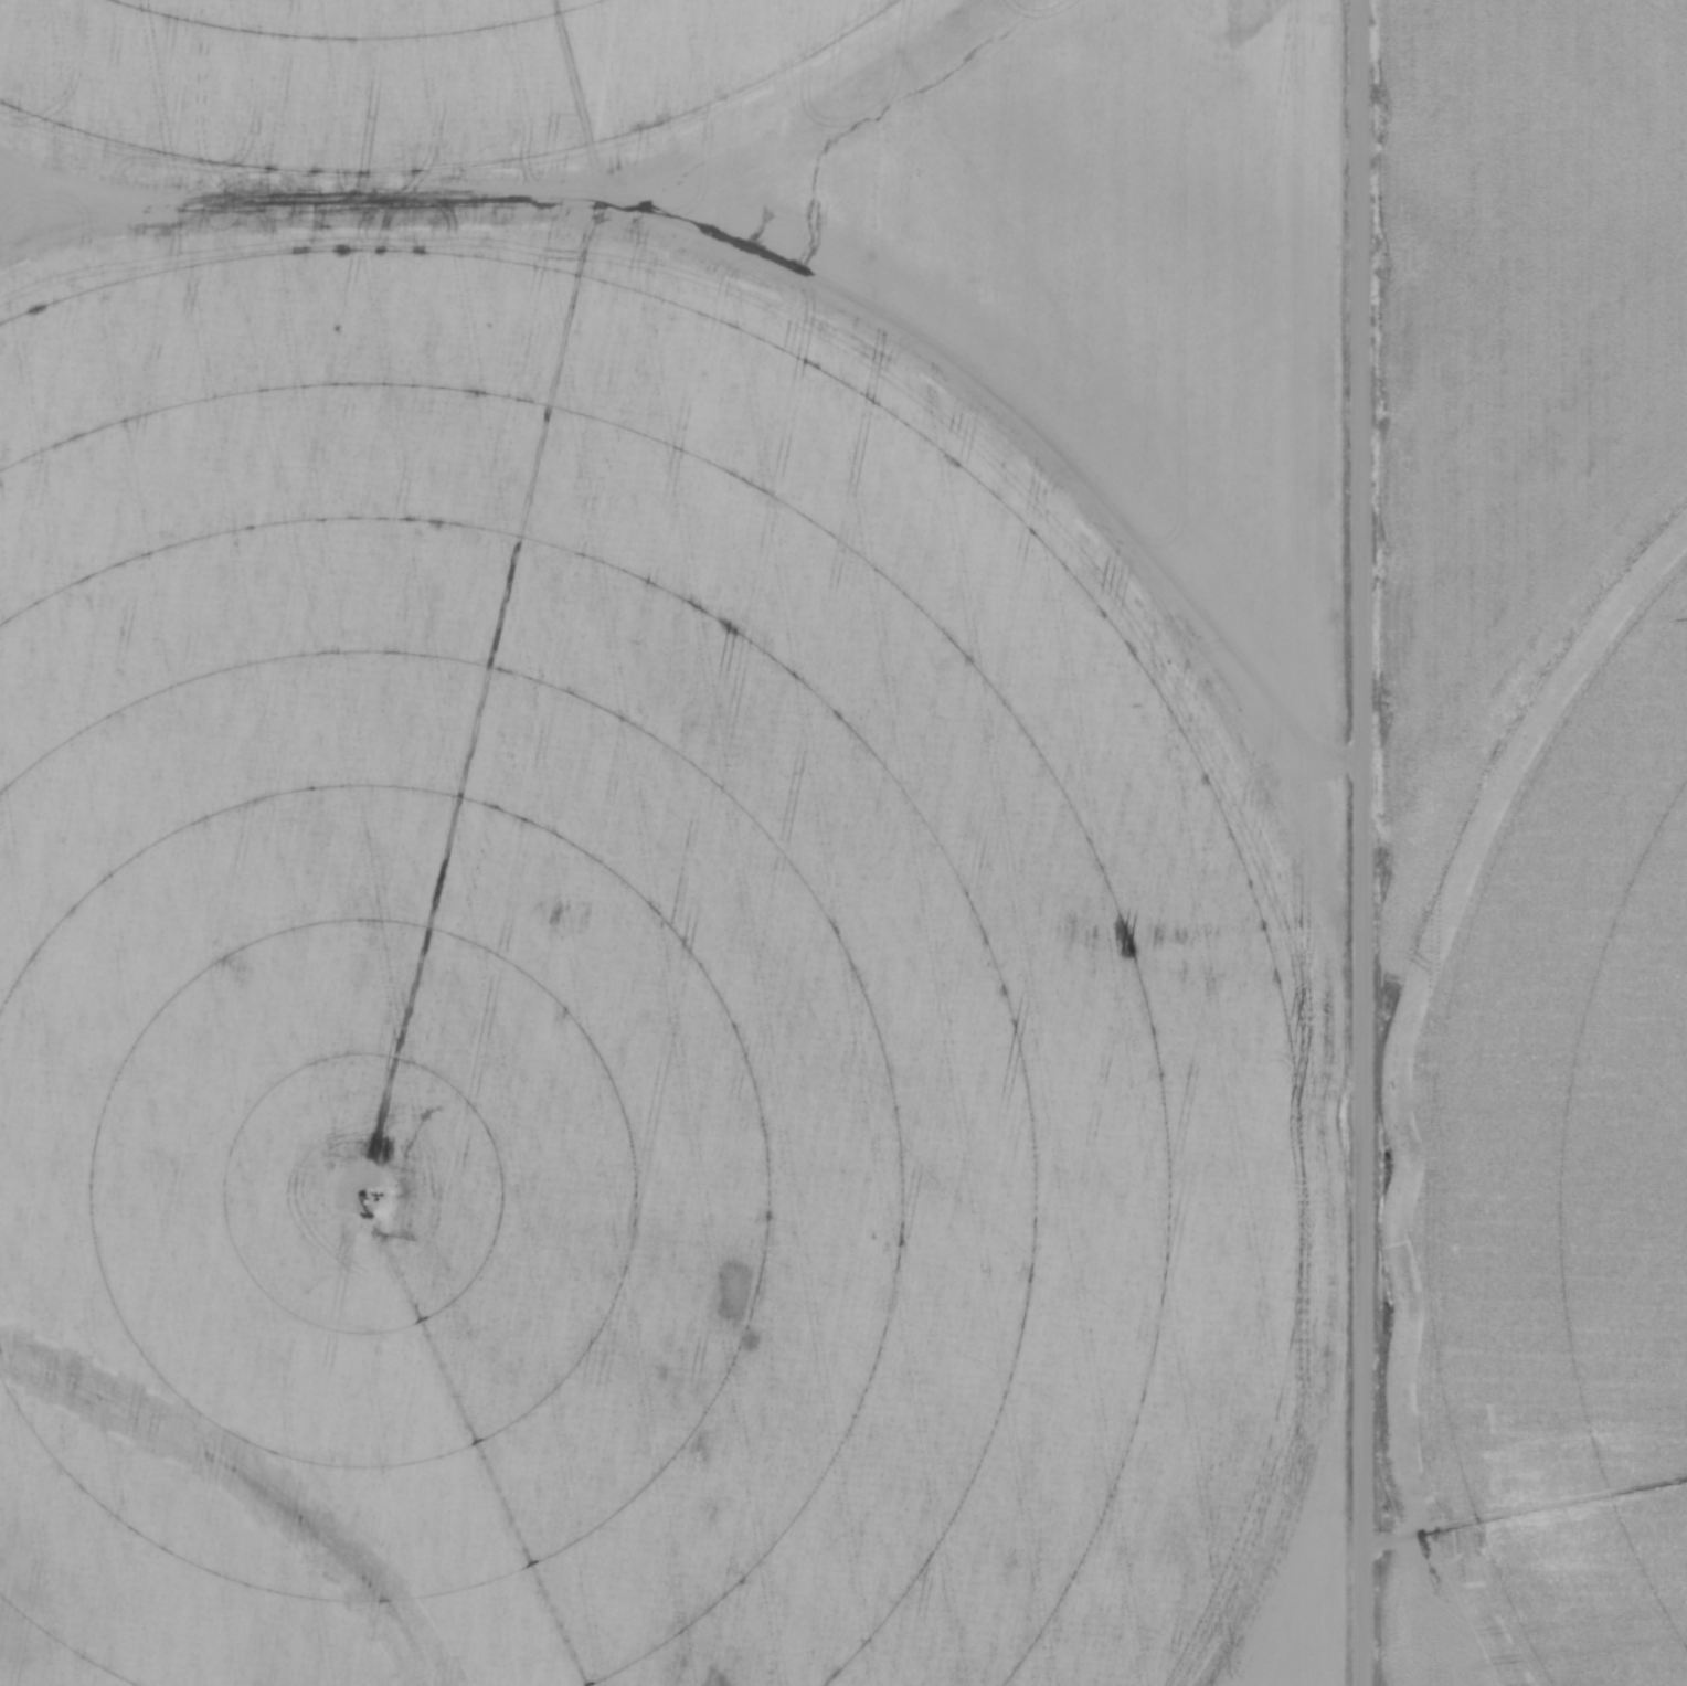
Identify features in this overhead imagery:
crop: (671, 842)
road: (1362, 842)
crop: (1536, 848)

